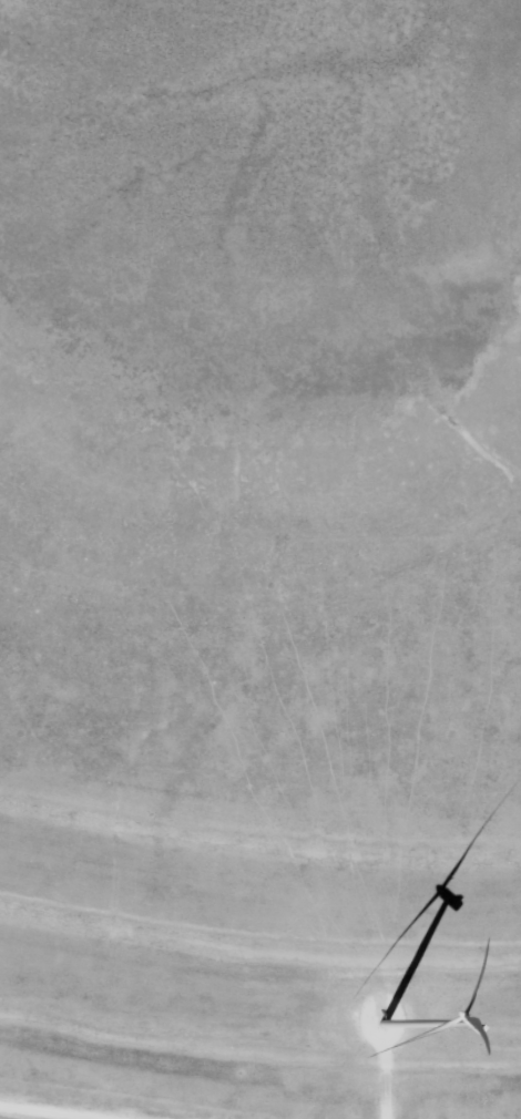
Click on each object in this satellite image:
wind turbine: (382, 1023)

